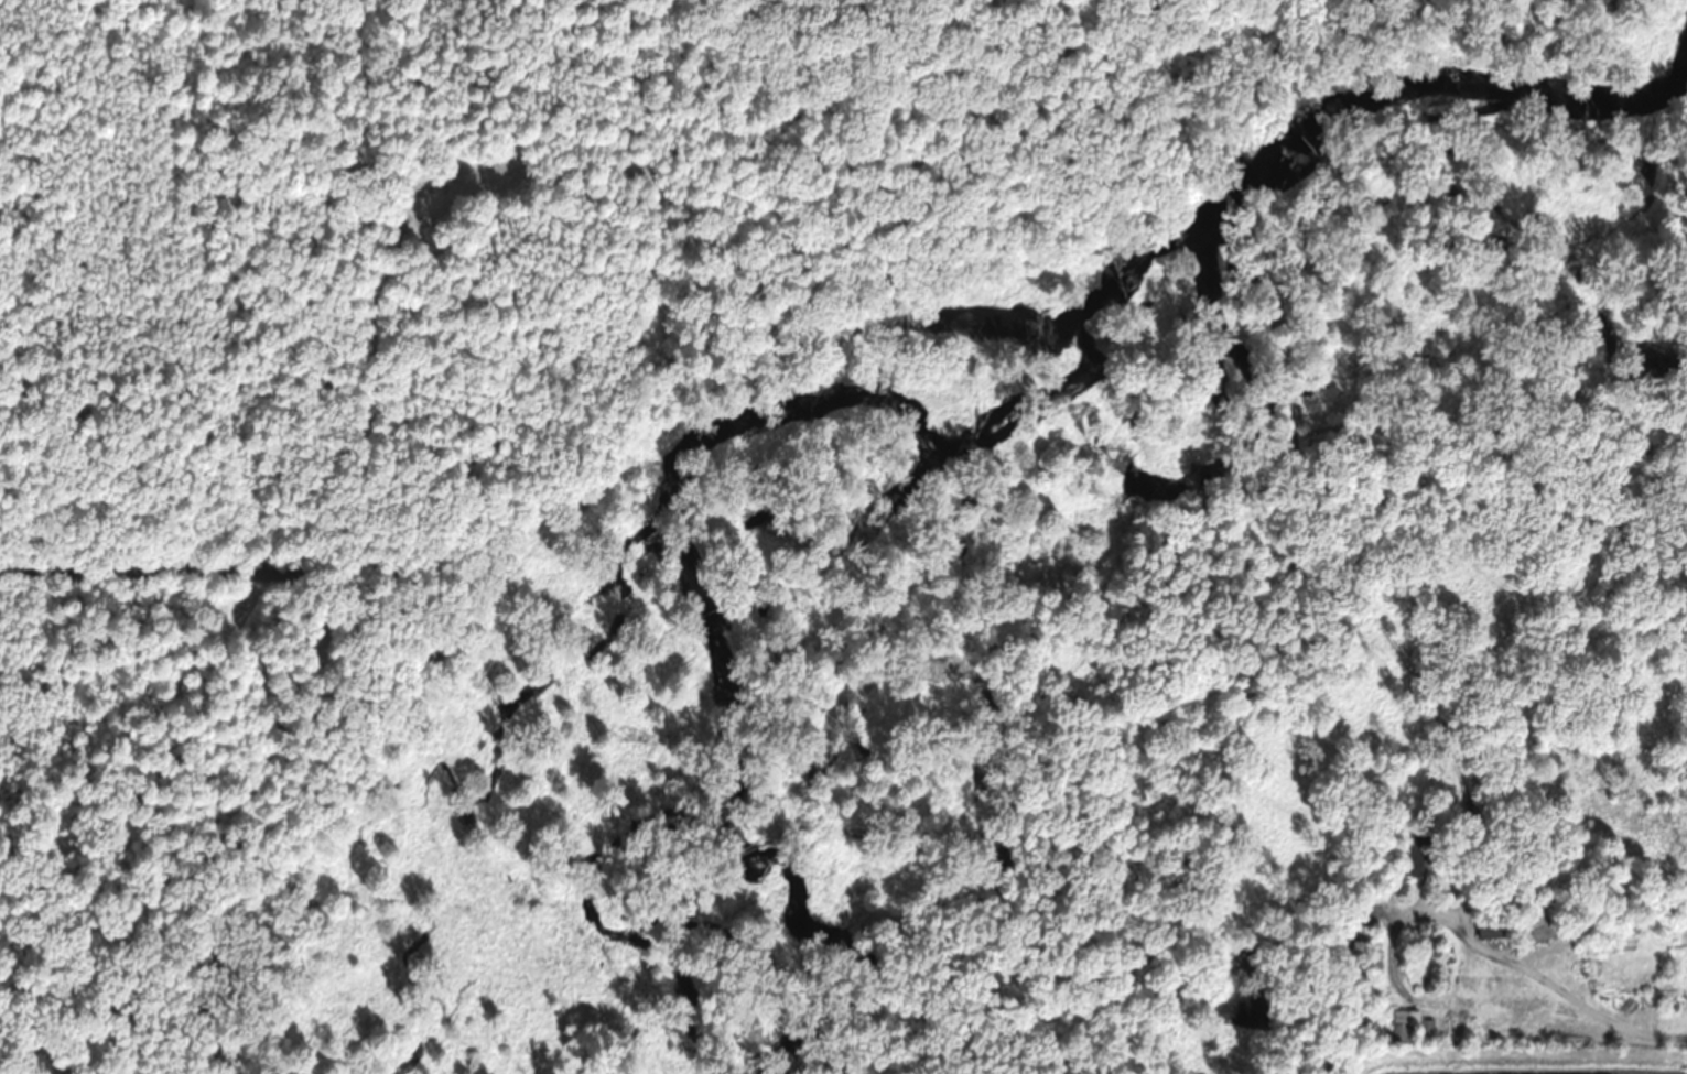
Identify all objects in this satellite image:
building: (1420, 855)
building: (1495, 925)
building: (1426, 1031)
building: (1403, 1034)

